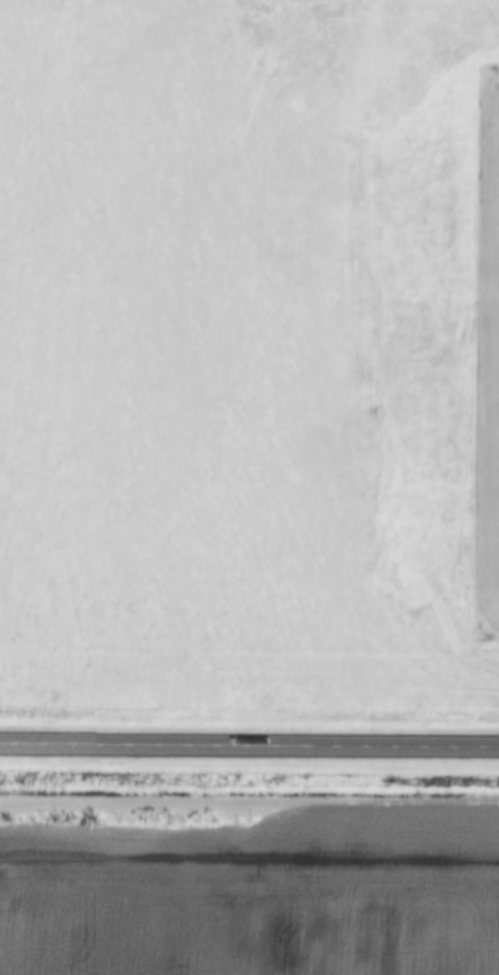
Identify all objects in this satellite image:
road: (493, 342)
road: (249, 748)

